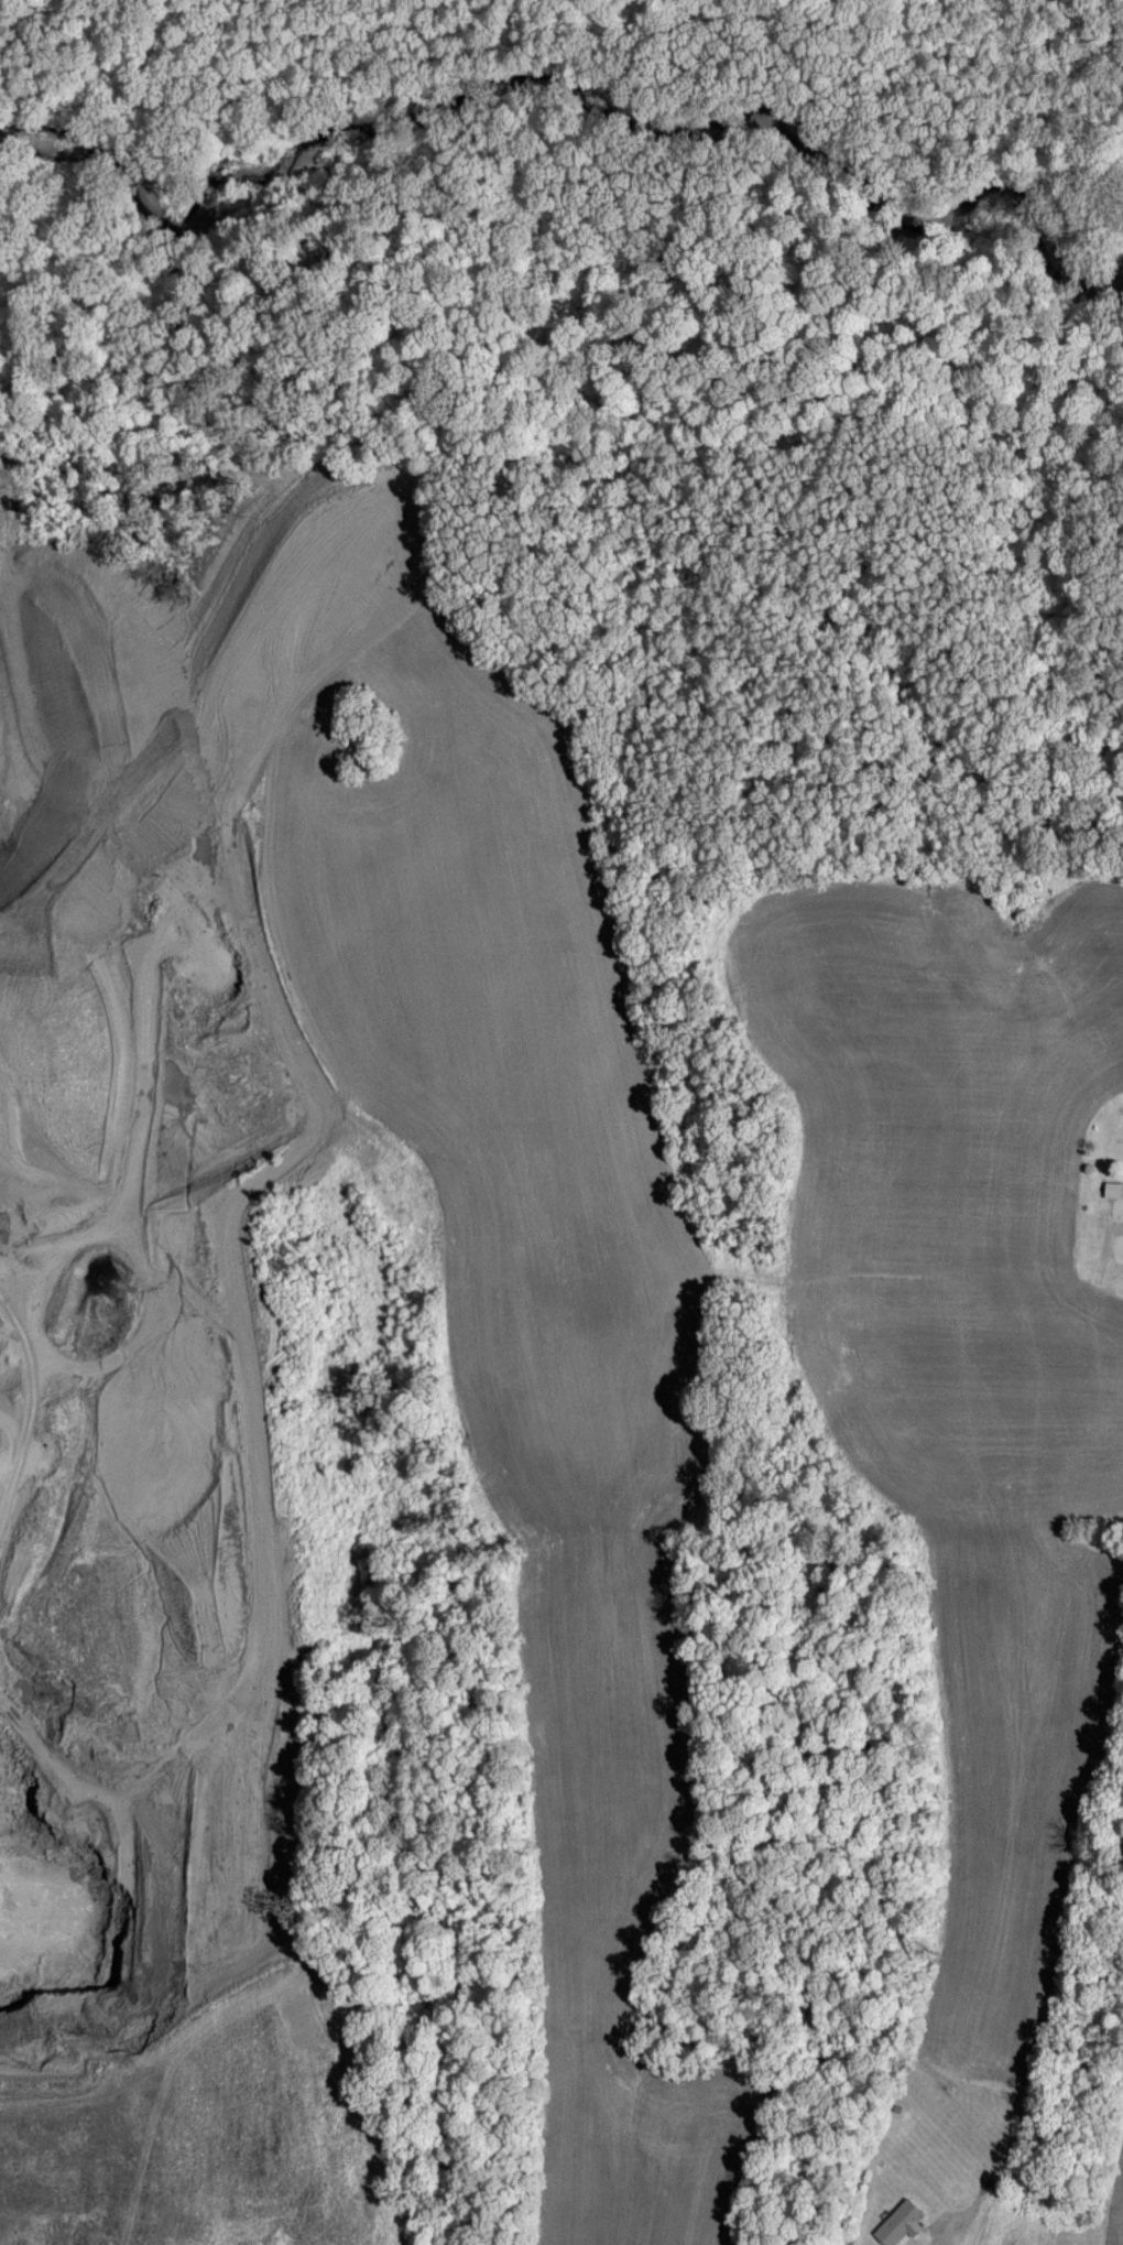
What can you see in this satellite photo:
building: (1111, 1187)
building: (897, 2222)

